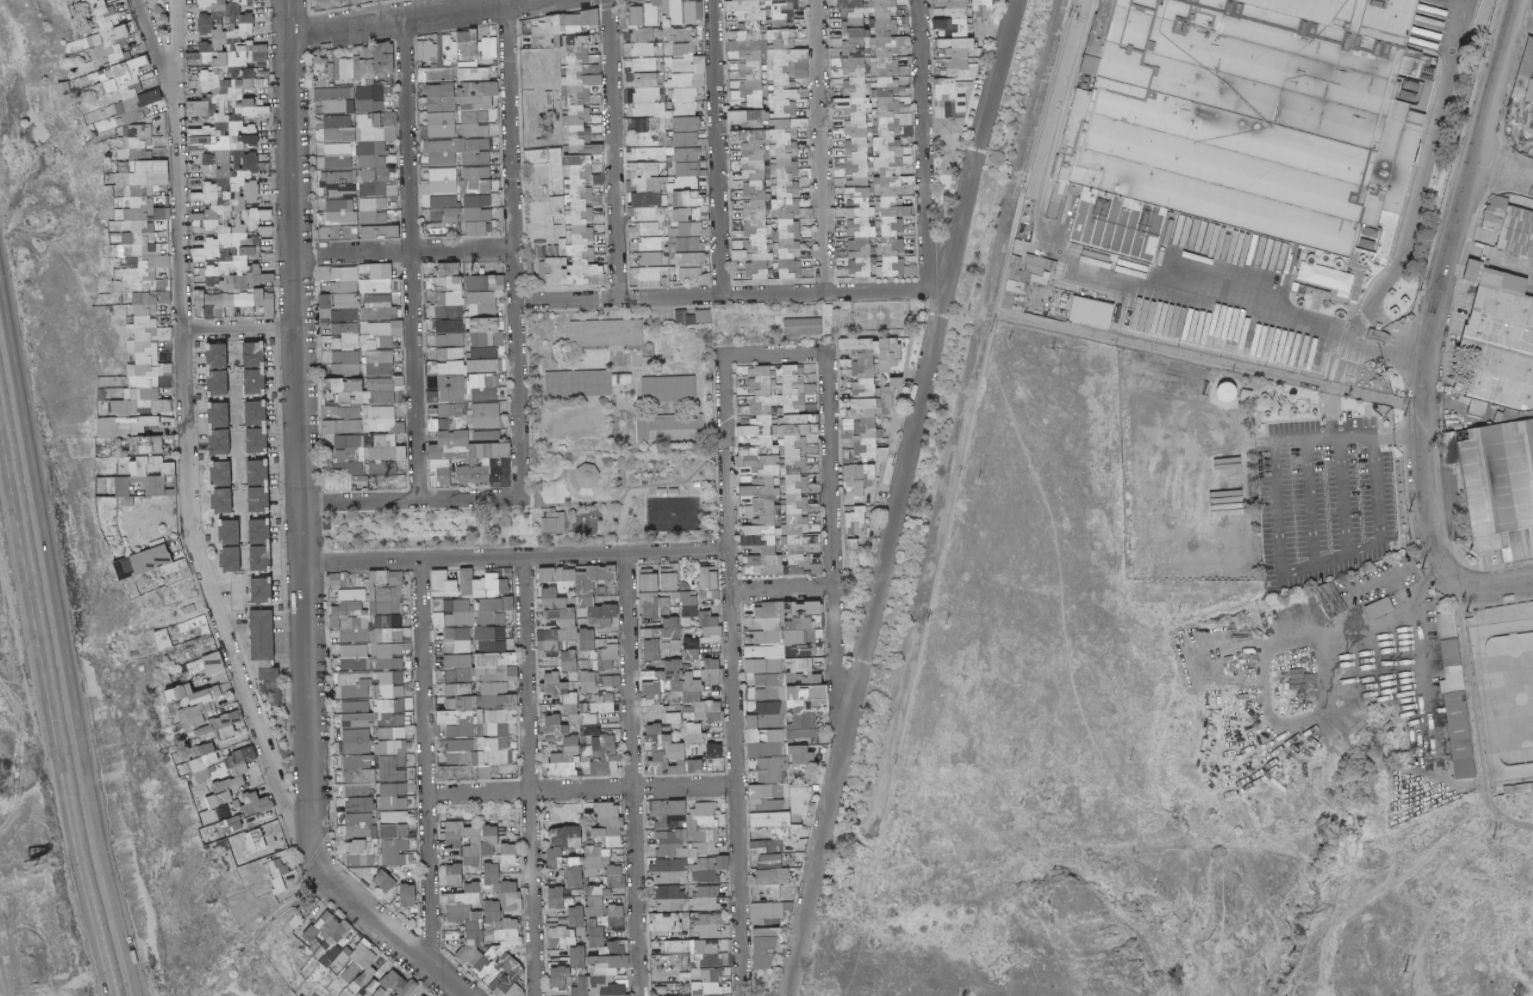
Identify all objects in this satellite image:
park: (159, 23)
park: (942, 194)
park: (550, 510)

